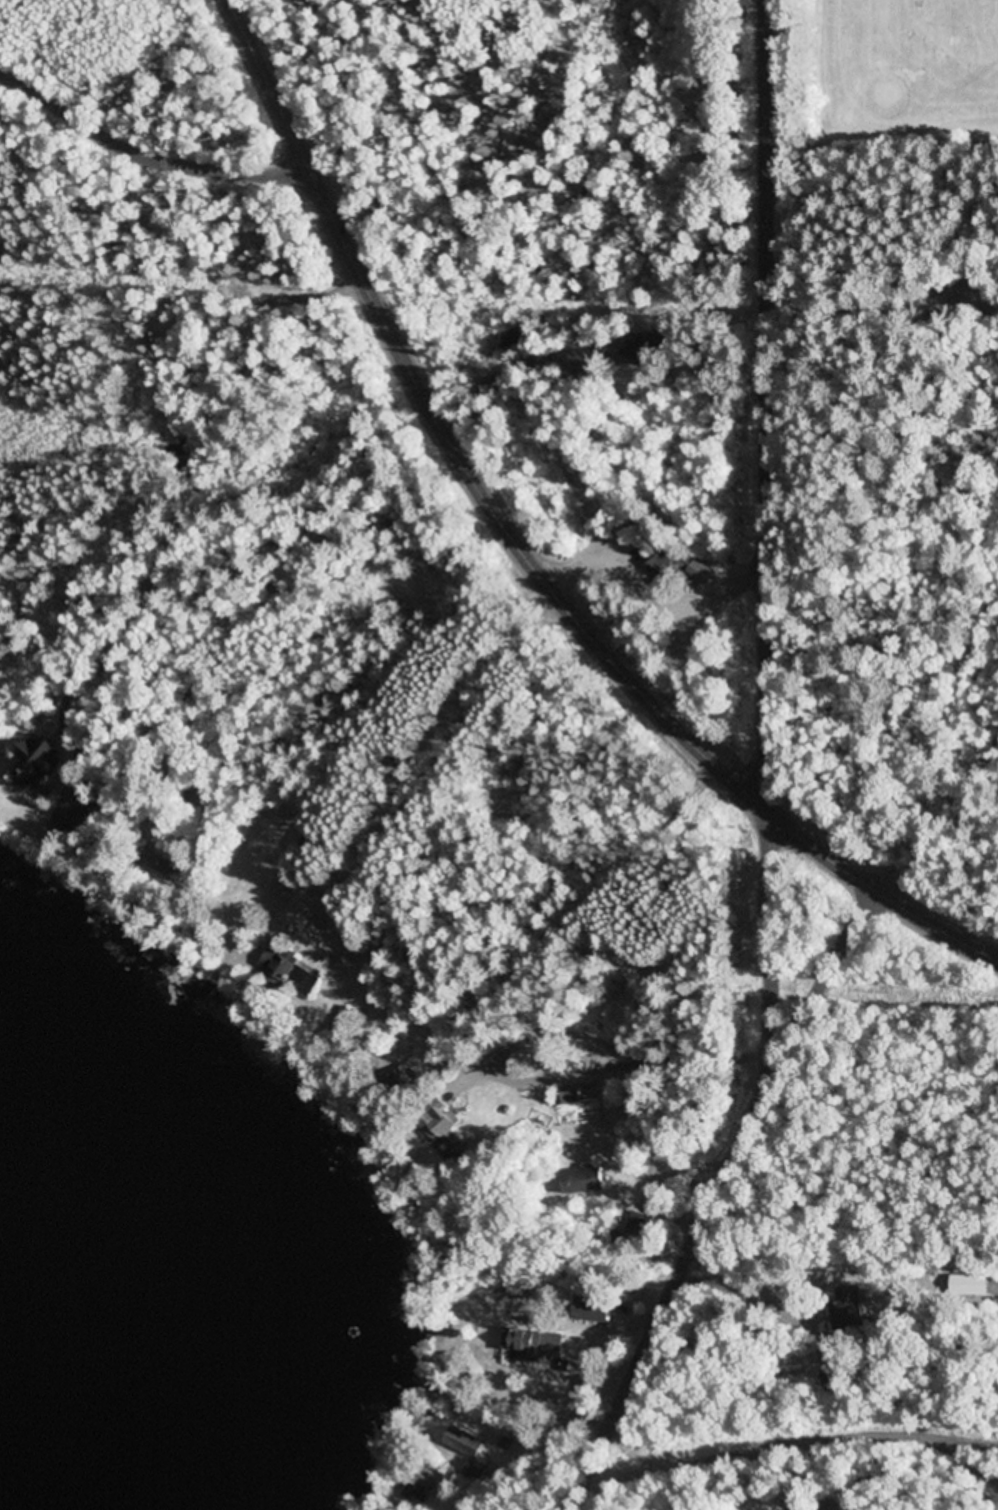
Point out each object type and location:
road: (145, 146)
building: (600, 352)
building: (646, 358)
road: (777, 406)
road: (522, 551)
building: (682, 563)
building: (42, 760)
building: (281, 963)
building: (447, 1129)
road: (729, 1175)
building: (586, 1180)
building: (640, 1225)
building: (595, 1309)
building: (531, 1345)
road: (797, 1437)

